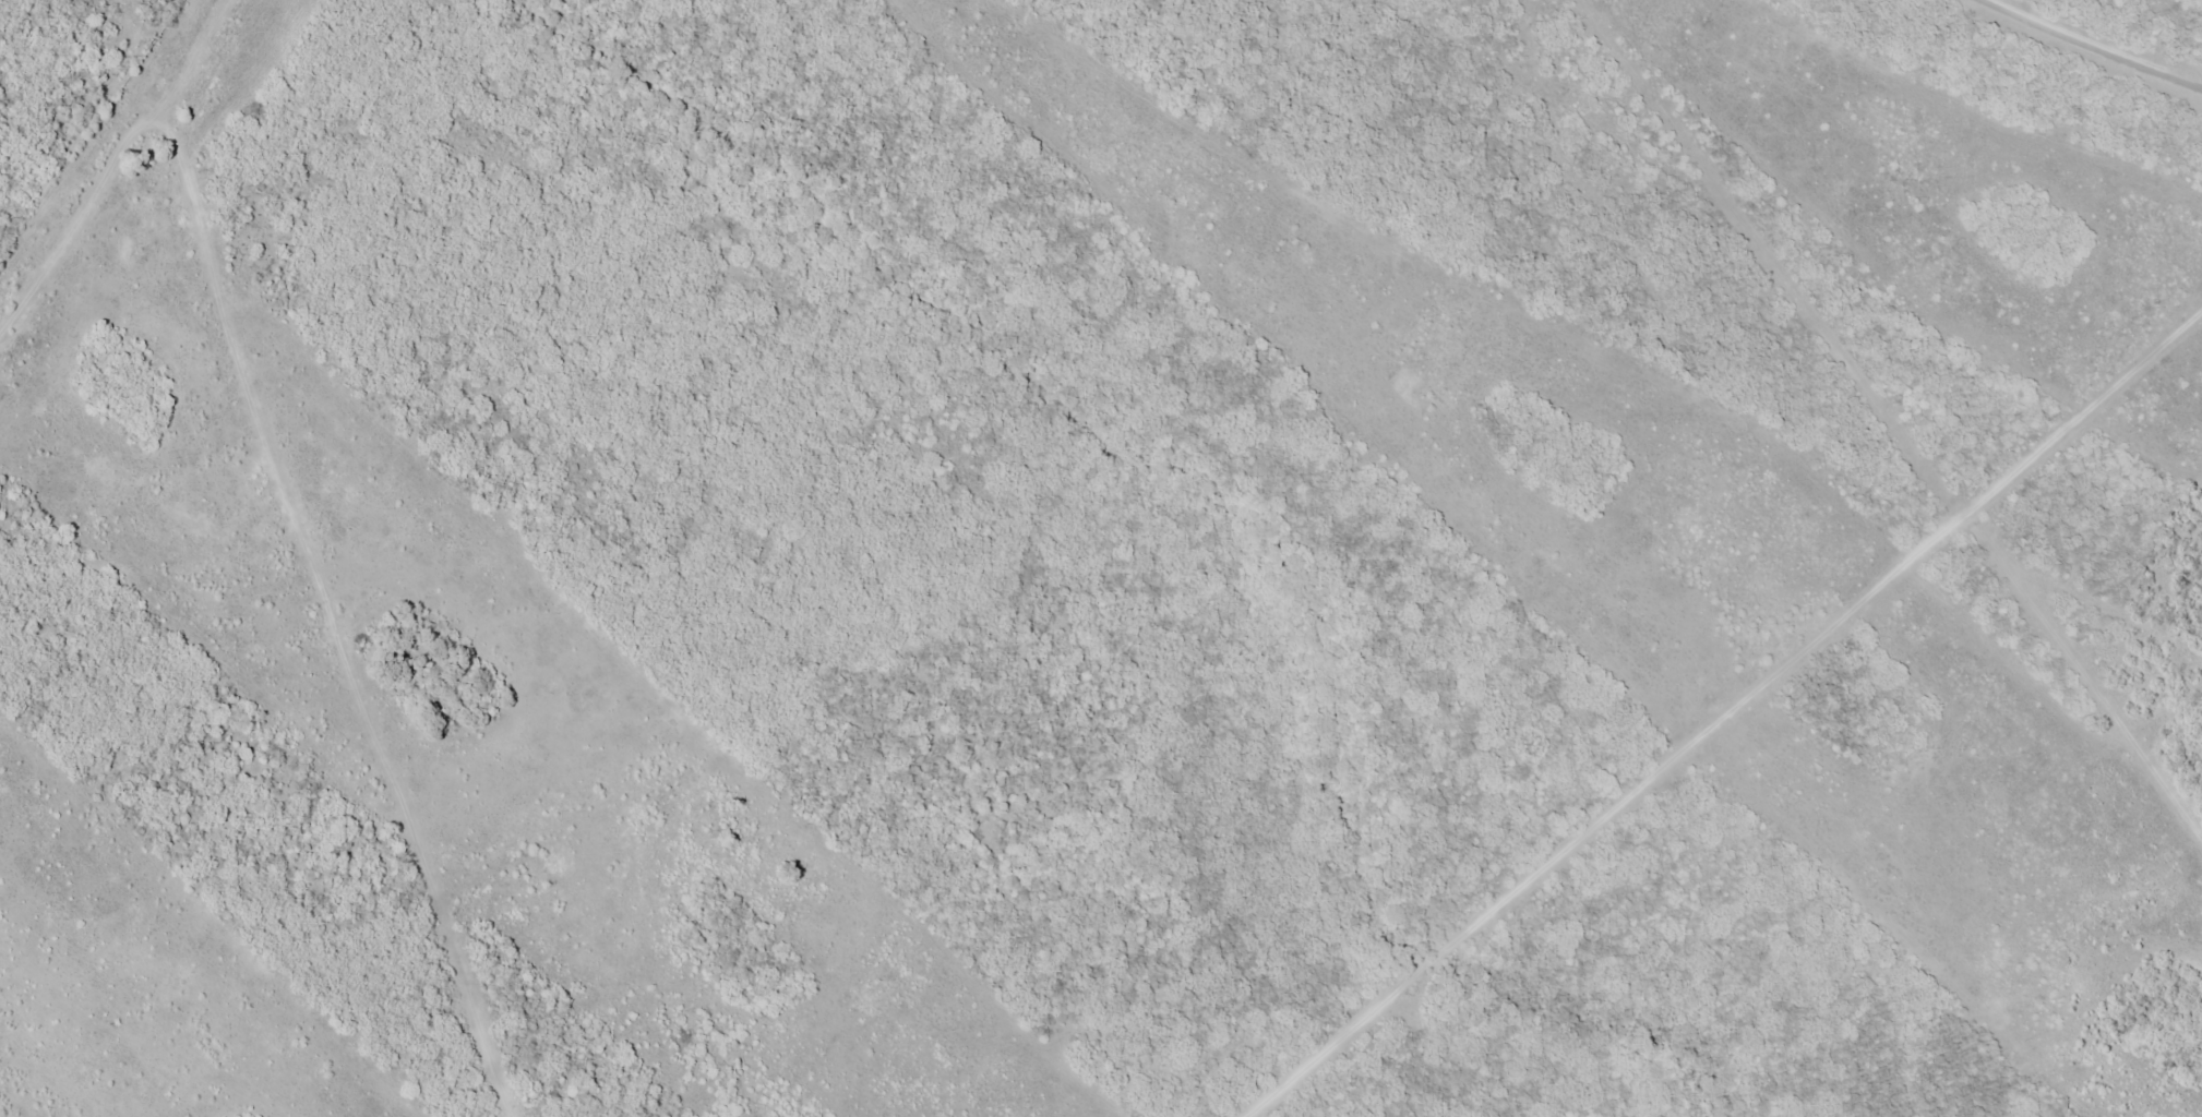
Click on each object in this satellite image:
road: (2086, 46)

